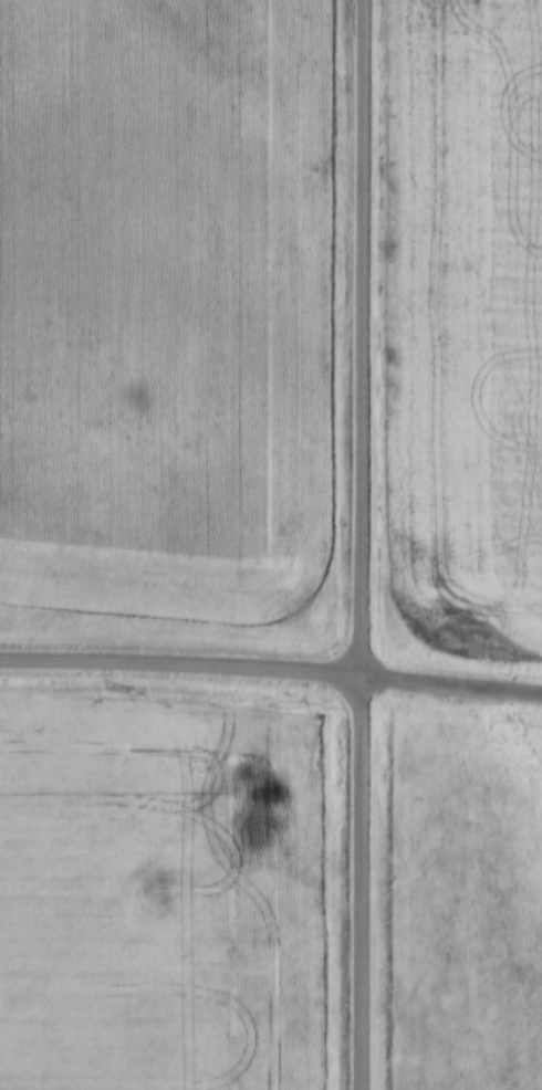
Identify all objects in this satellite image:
road: (361, 545)
road: (271, 675)

